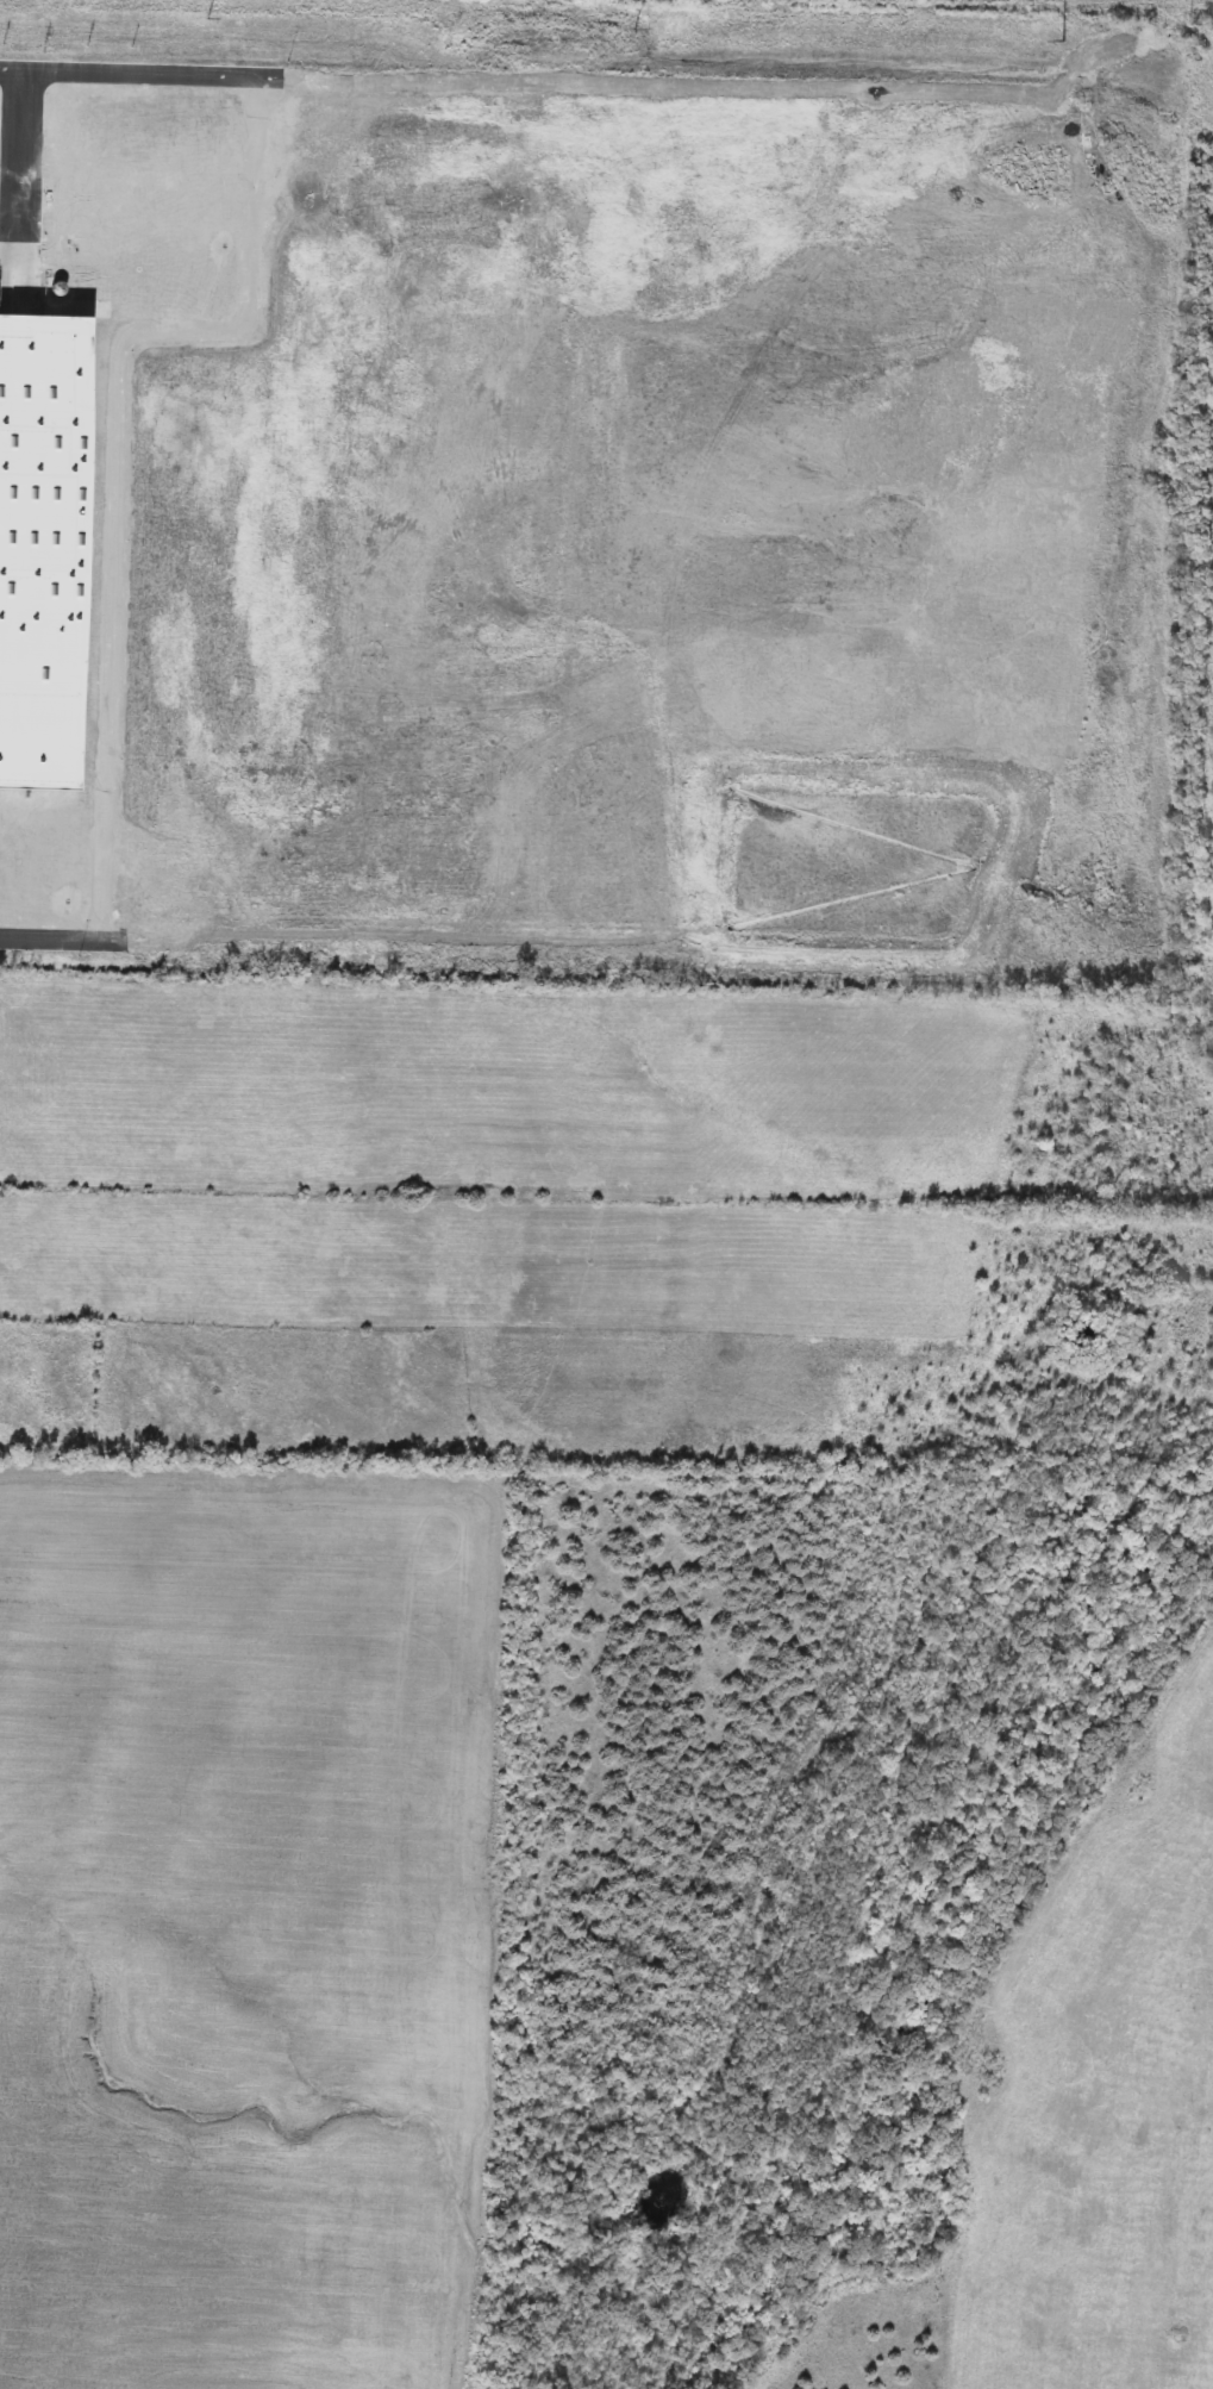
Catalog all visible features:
road: (142, 76)
road: (720, 89)
road: (24, 158)
road: (117, 453)
building: (43, 549)
road: (64, 938)

